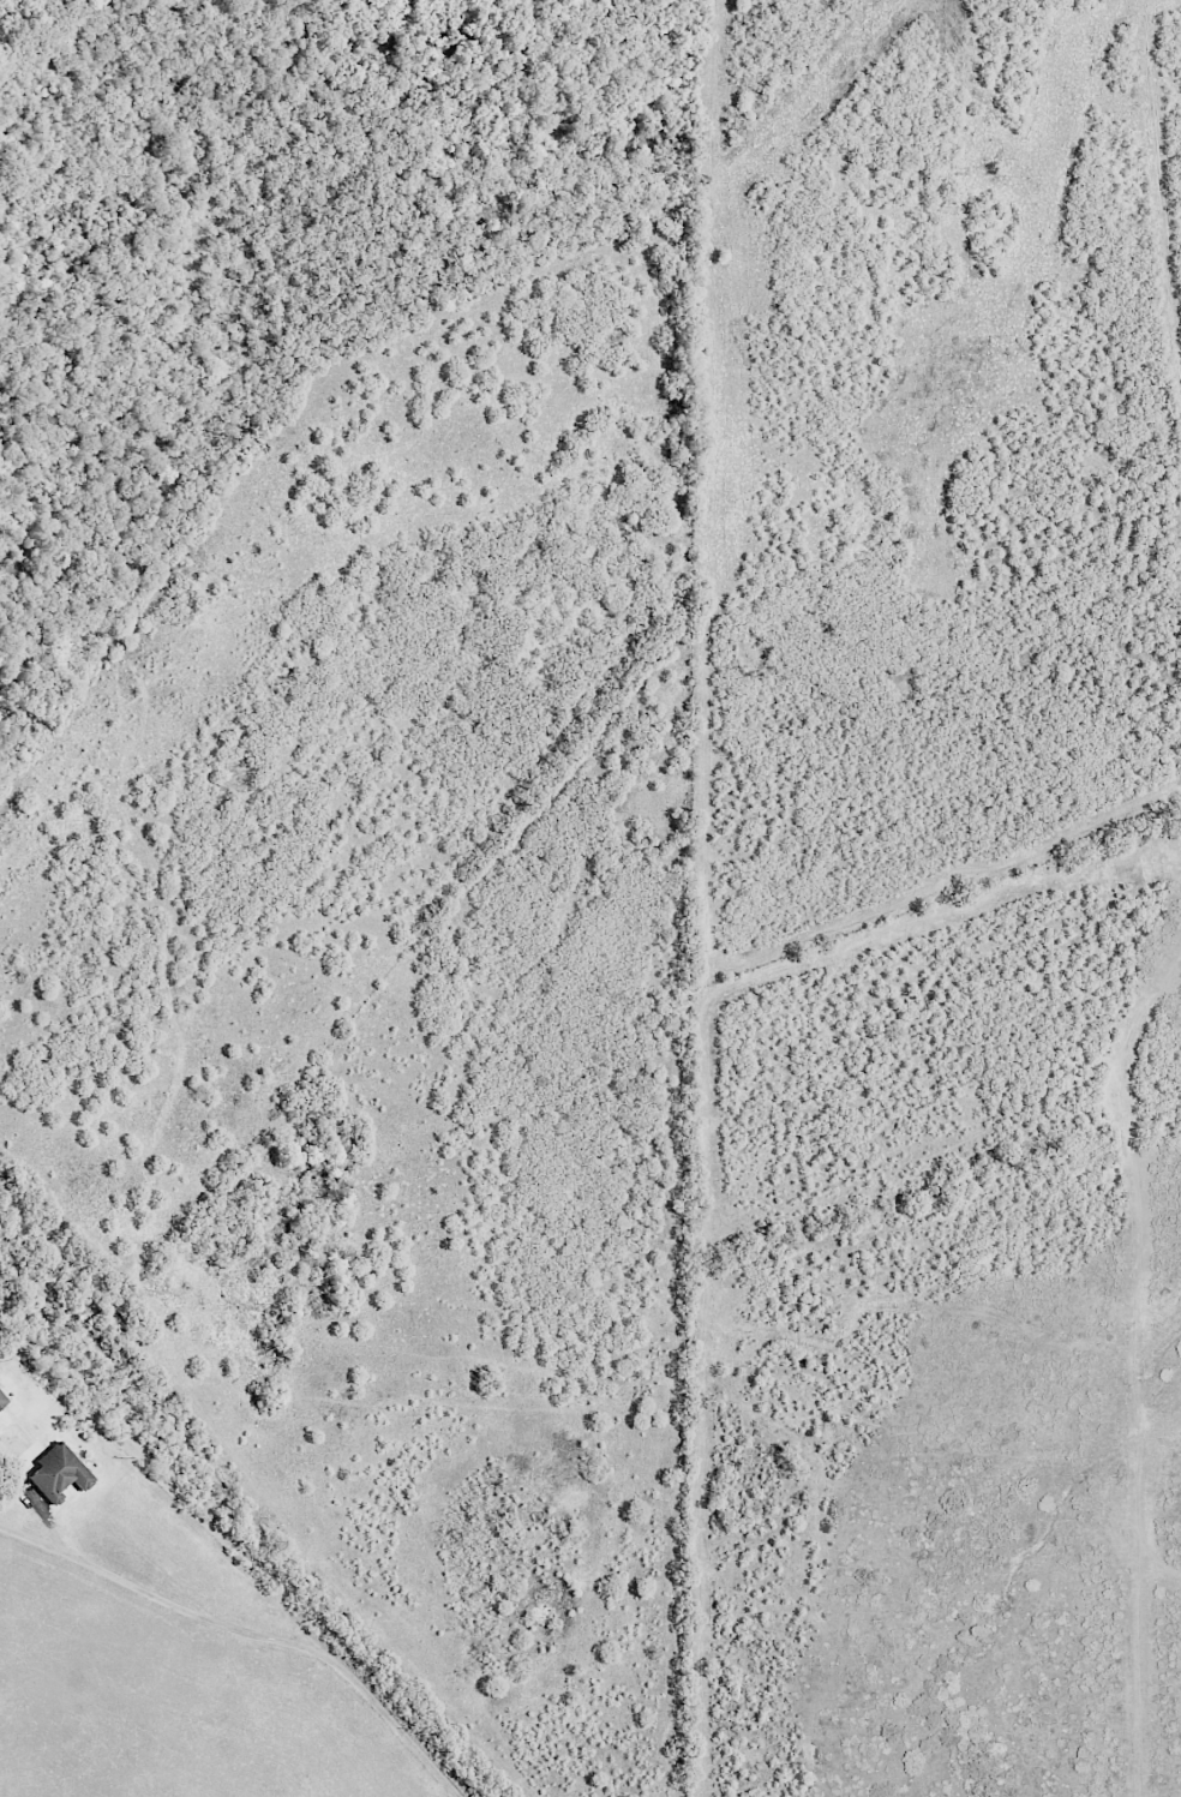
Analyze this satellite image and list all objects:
building: (2, 1400)
building: (60, 1473)
road: (40, 1501)
road: (248, 1635)

